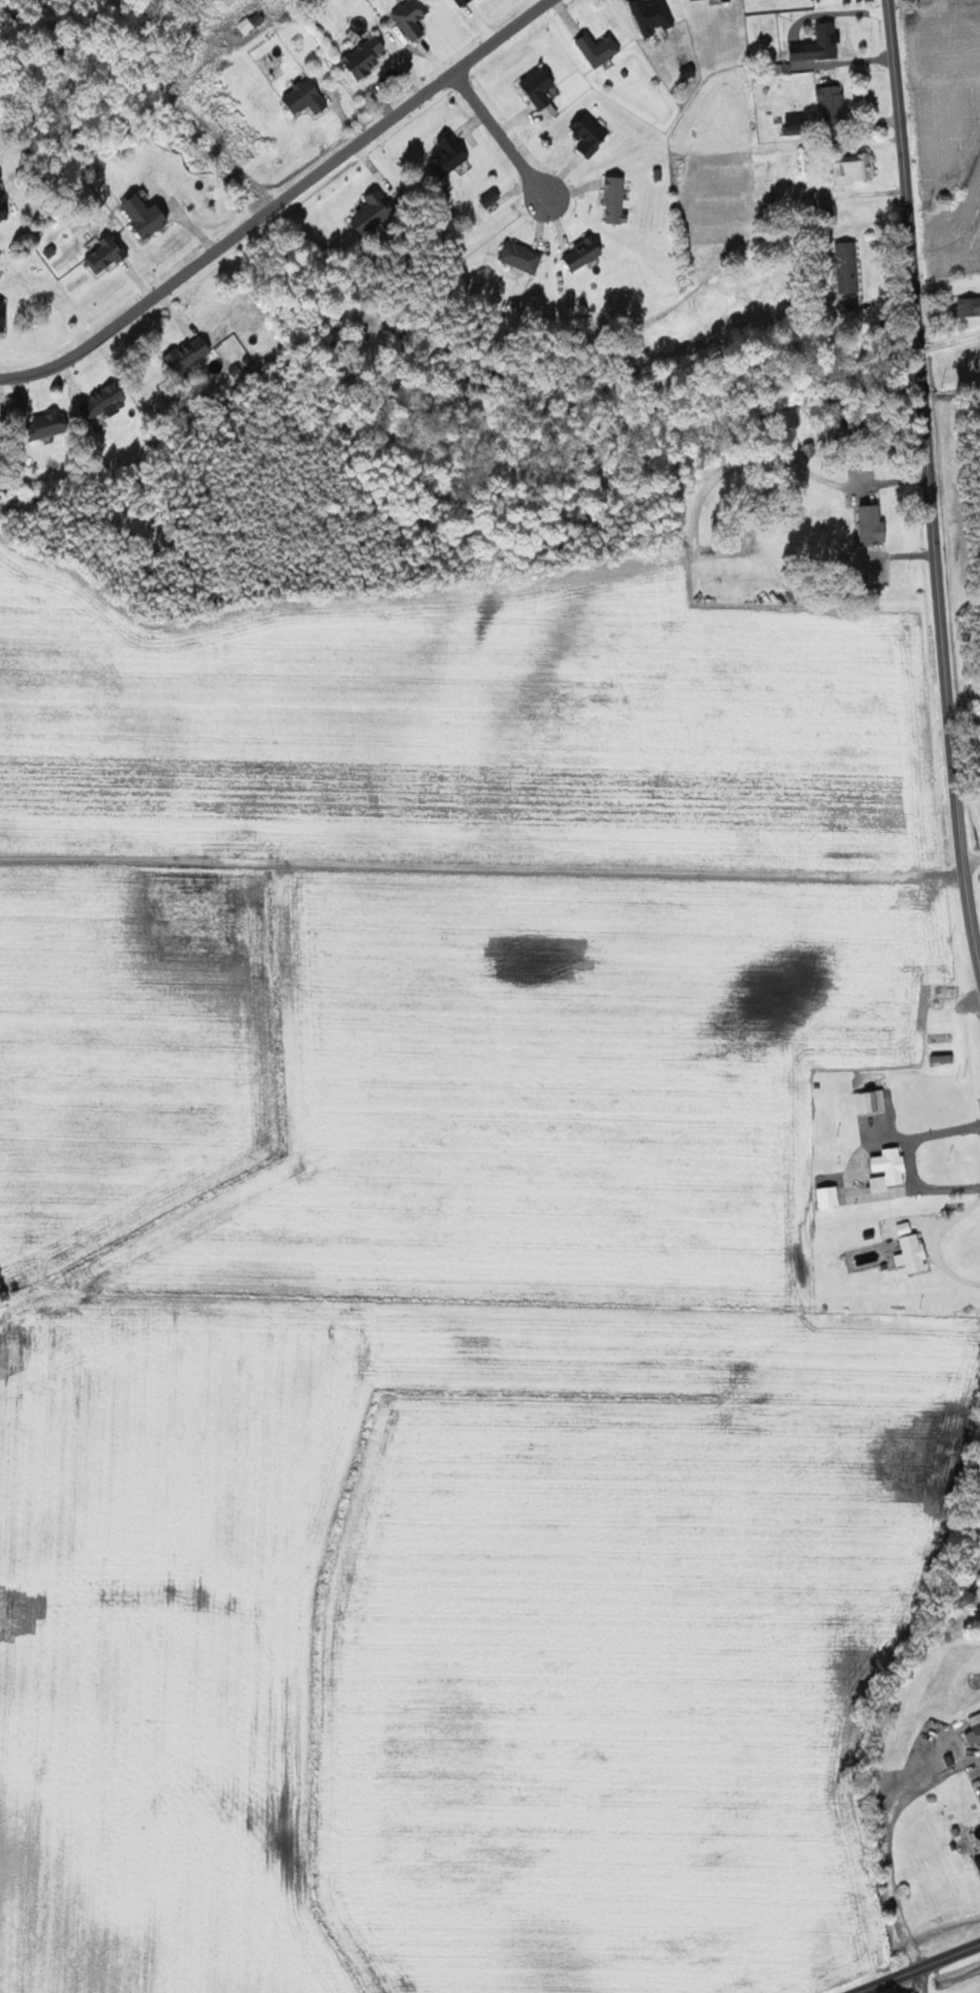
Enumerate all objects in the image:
building: (726, 0)
building: (461, 1)
building: (653, 15)
building: (413, 17)
building: (253, 21)
building: (819, 44)
building: (599, 48)
building: (369, 55)
road: (843, 61)
building: (541, 86)
building: (307, 97)
building: (833, 104)
building: (795, 124)
road: (504, 132)
building: (590, 133)
building: (450, 153)
building: (857, 168)
building: (492, 197)
building: (617, 199)
road: (282, 200)
building: (3, 204)
building: (374, 211)
building: (147, 214)
building: (585, 251)
building: (107, 254)
building: (522, 256)
building: (849, 266)
building: (969, 306)
building: (4, 314)
building: (188, 354)
building: (106, 401)
building: (52, 423)
road: (929, 474)
building: (874, 524)
road: (978, 957)
building: (872, 1101)
building: (889, 1169)
building: (830, 1197)
building: (913, 1254)
building: (975, 1730)
building: (978, 1861)
road: (918, 1968)
road: (922, 1980)

